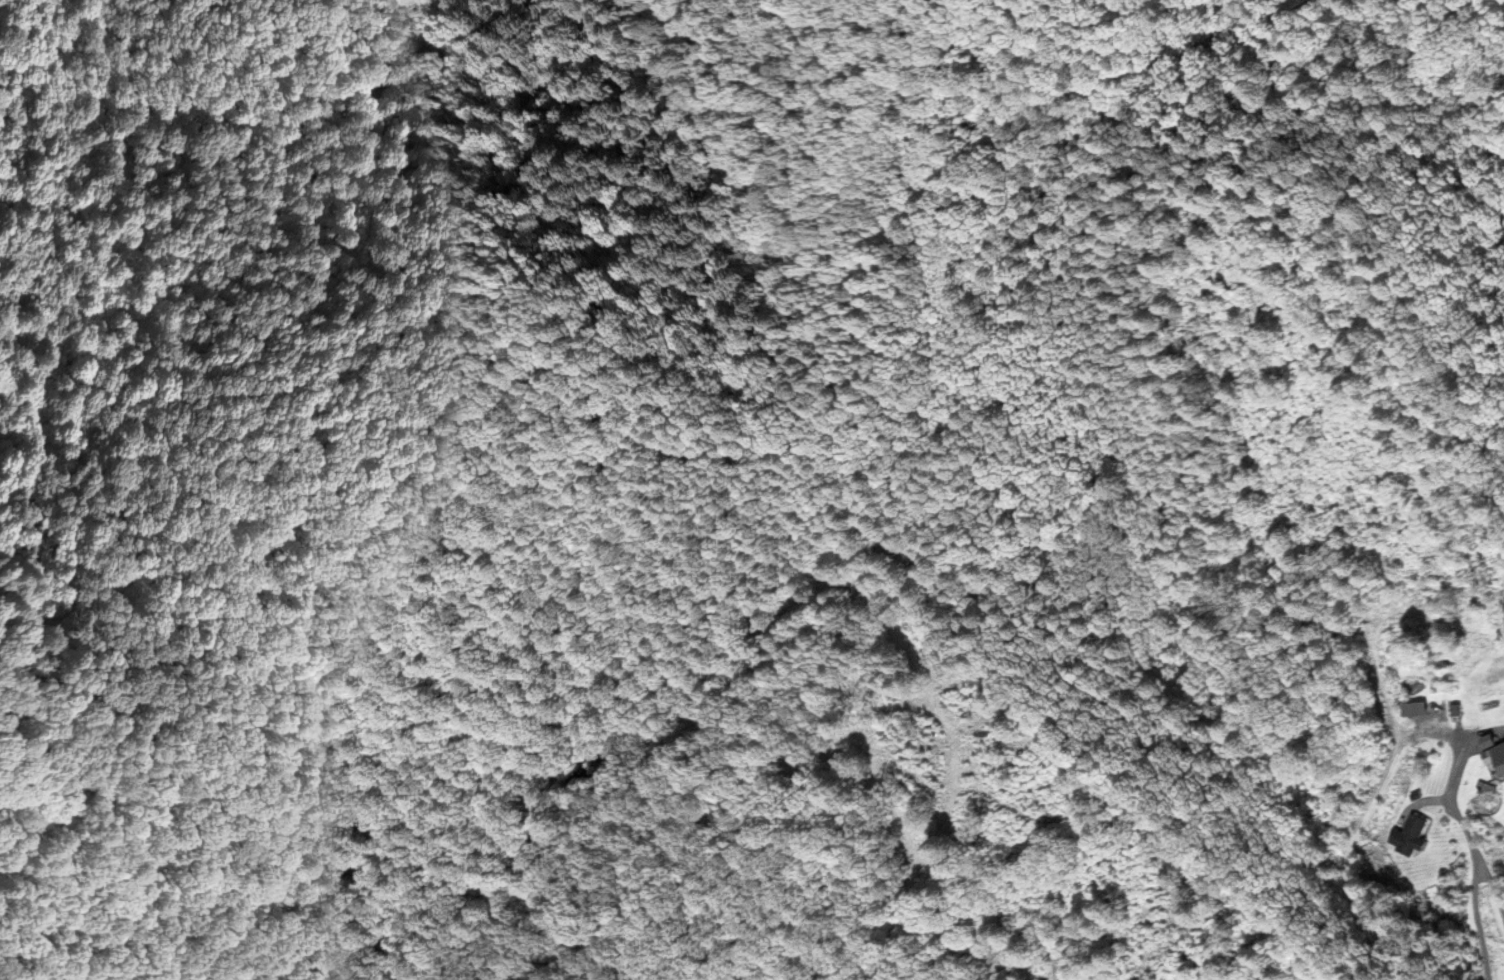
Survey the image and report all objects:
building: (1420, 708)
building: (1498, 756)
road: (1392, 766)
road: (1458, 810)
building: (1415, 836)

